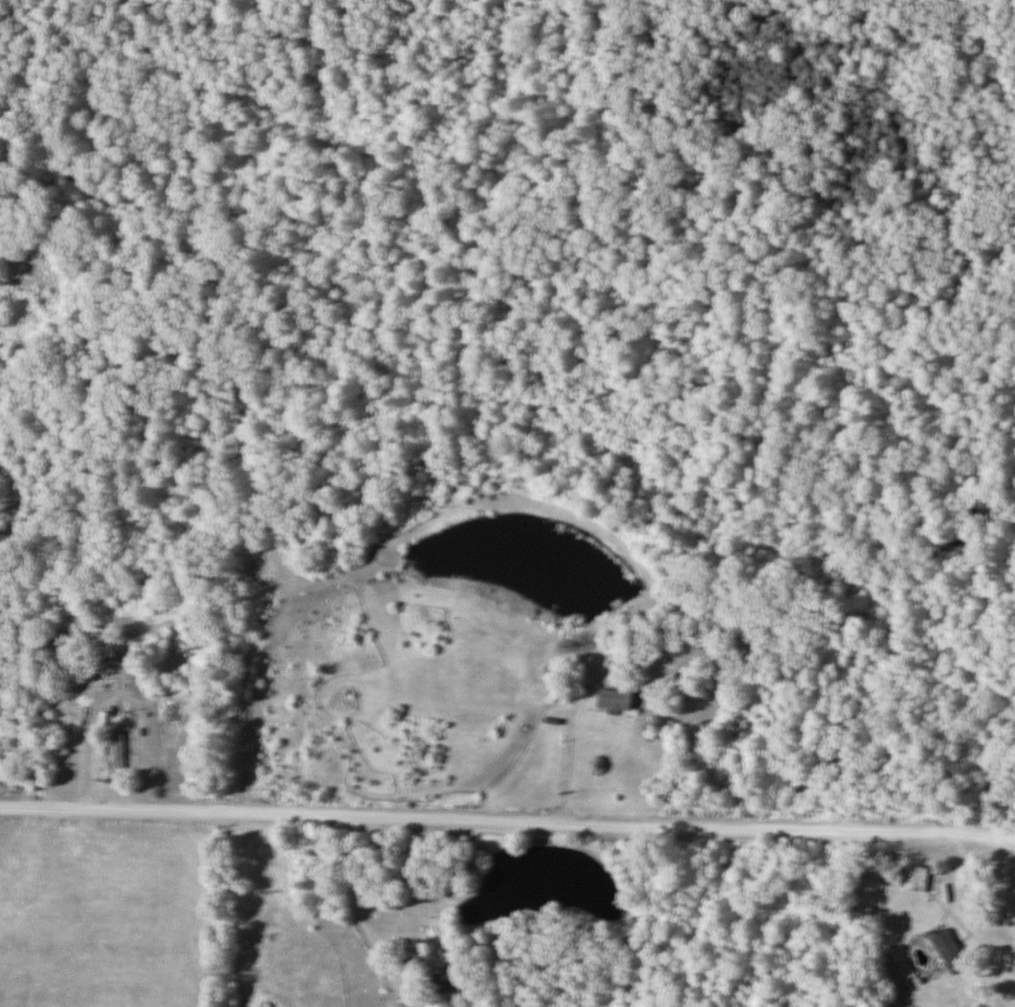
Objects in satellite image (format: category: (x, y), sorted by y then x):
building: (107, 671)
building: (617, 698)
road: (570, 723)
building: (118, 749)
road: (507, 821)
building: (921, 878)
road: (953, 907)
road: (351, 911)
building: (952, 950)
building: (449, 982)

